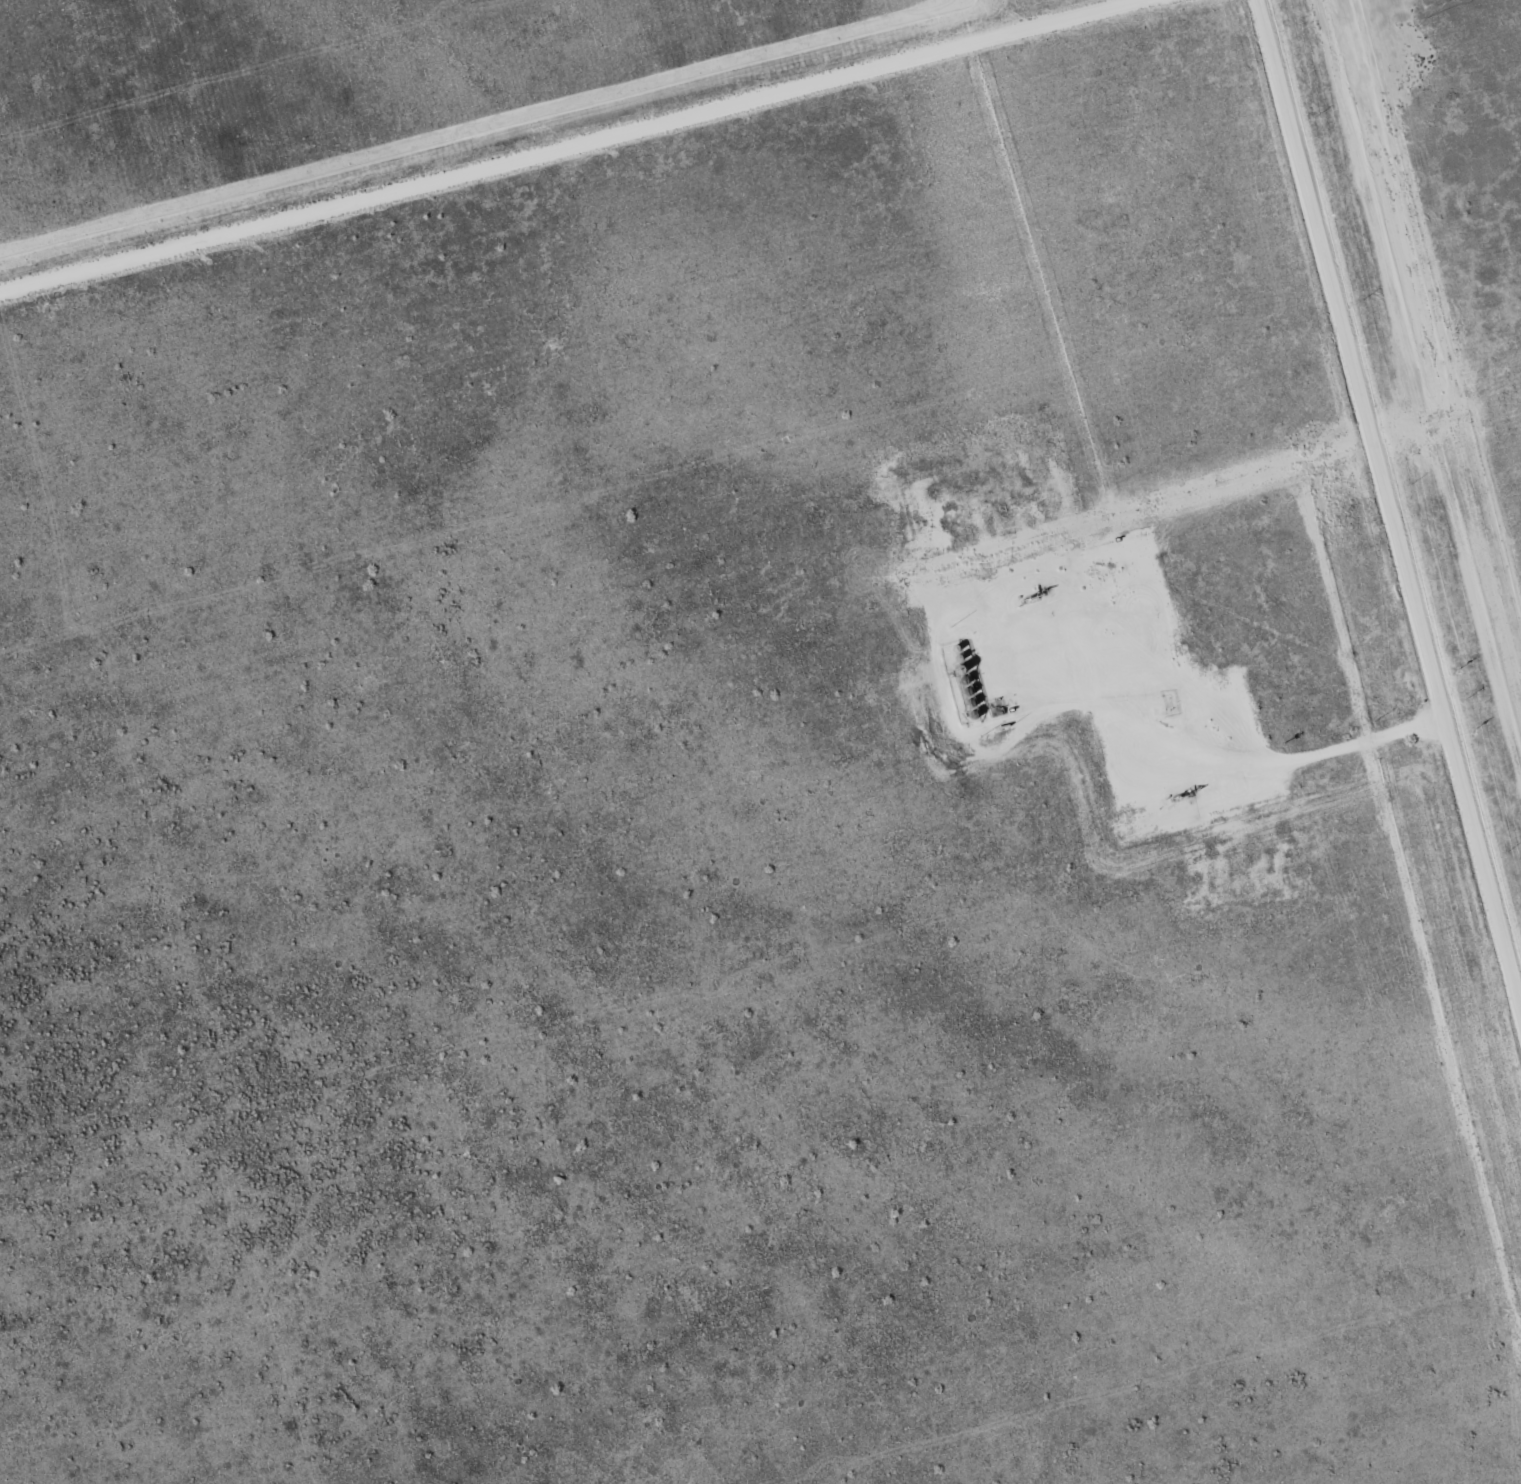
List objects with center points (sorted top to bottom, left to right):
road: (1393, 500)

